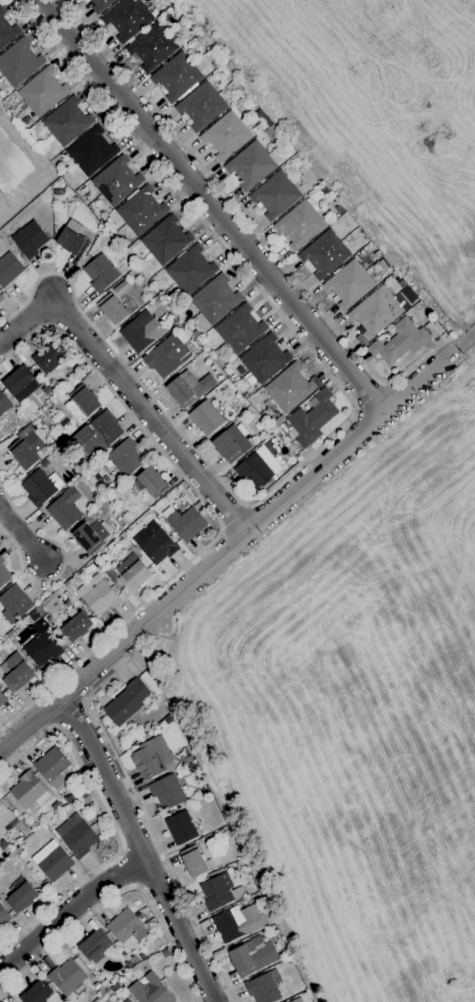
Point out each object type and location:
building: (101, 5)
building: (175, 10)
building: (128, 19)
building: (7, 31)
building: (179, 35)
building: (198, 39)
building: (152, 47)
building: (19, 63)
building: (216, 64)
building: (177, 78)
building: (42, 92)
building: (242, 101)
building: (201, 107)
building: (25, 122)
building: (67, 122)
building: (226, 136)
building: (42, 149)
building: (91, 151)
building: (251, 166)
building: (302, 169)
building: (116, 182)
road: (222, 193)
building: (275, 195)
building: (332, 202)
road: (212, 206)
building: (141, 211)
building: (339, 211)
building: (300, 225)
building: (30, 239)
building: (73, 239)
building: (166, 240)
building: (325, 254)
building: (9, 269)
building: (190, 270)
building: (100, 273)
building: (349, 284)
building: (121, 289)
building: (1, 299)
building: (215, 300)
building: (115, 309)
building: (376, 312)
building: (240, 329)
building: (142, 332)
road: (466, 340)
building: (400, 342)
building: (48, 357)
building: (166, 357)
road: (417, 360)
building: (264, 361)
building: (234, 378)
building: (21, 384)
building: (189, 388)
building: (289, 389)
building: (46, 390)
road: (127, 390)
building: (247, 396)
road: (370, 398)
building: (81, 404)
building: (4, 405)
road: (353, 409)
building: (41, 417)
building: (206, 418)
building: (311, 419)
building: (277, 421)
building: (102, 434)
building: (231, 444)
building: (58, 449)
building: (23, 453)
building: (125, 458)
building: (255, 473)
building: (152, 482)
building: (40, 487)
building: (105, 508)
building: (65, 509)
road: (214, 515)
road: (236, 518)
building: (186, 524)
road: (20, 532)
building: (90, 536)
building: (155, 544)
road: (227, 548)
road: (63, 562)
building: (132, 572)
building: (4, 575)
building: (110, 575)
building: (98, 596)
building: (14, 603)
building: (40, 612)
building: (34, 616)
building: (75, 625)
building: (11, 635)
building: (42, 646)
building: (16, 673)
building: (150, 683)
building: (2, 700)
road: (84, 701)
building: (126, 703)
road: (68, 713)
building: (169, 720)
road: (54, 727)
building: (152, 758)
building: (51, 765)
building: (29, 792)
building: (167, 792)
building: (69, 799)
building: (86, 800)
building: (92, 806)
building: (56, 807)
building: (5, 815)
road: (144, 815)
road: (110, 824)
building: (181, 828)
building: (76, 836)
building: (225, 836)
road: (140, 848)
building: (52, 862)
building: (195, 862)
road: (130, 871)
building: (45, 883)
building: (219, 892)
building: (21, 898)
road: (115, 898)
road: (69, 912)
building: (4, 918)
building: (238, 923)
building: (127, 929)
building: (94, 946)
building: (142, 957)
building: (253, 957)
building: (68, 980)
building: (115, 989)
building: (263, 989)
building: (150, 991)
building: (37, 993)
building: (297, 1000)
building: (127, 1001)

